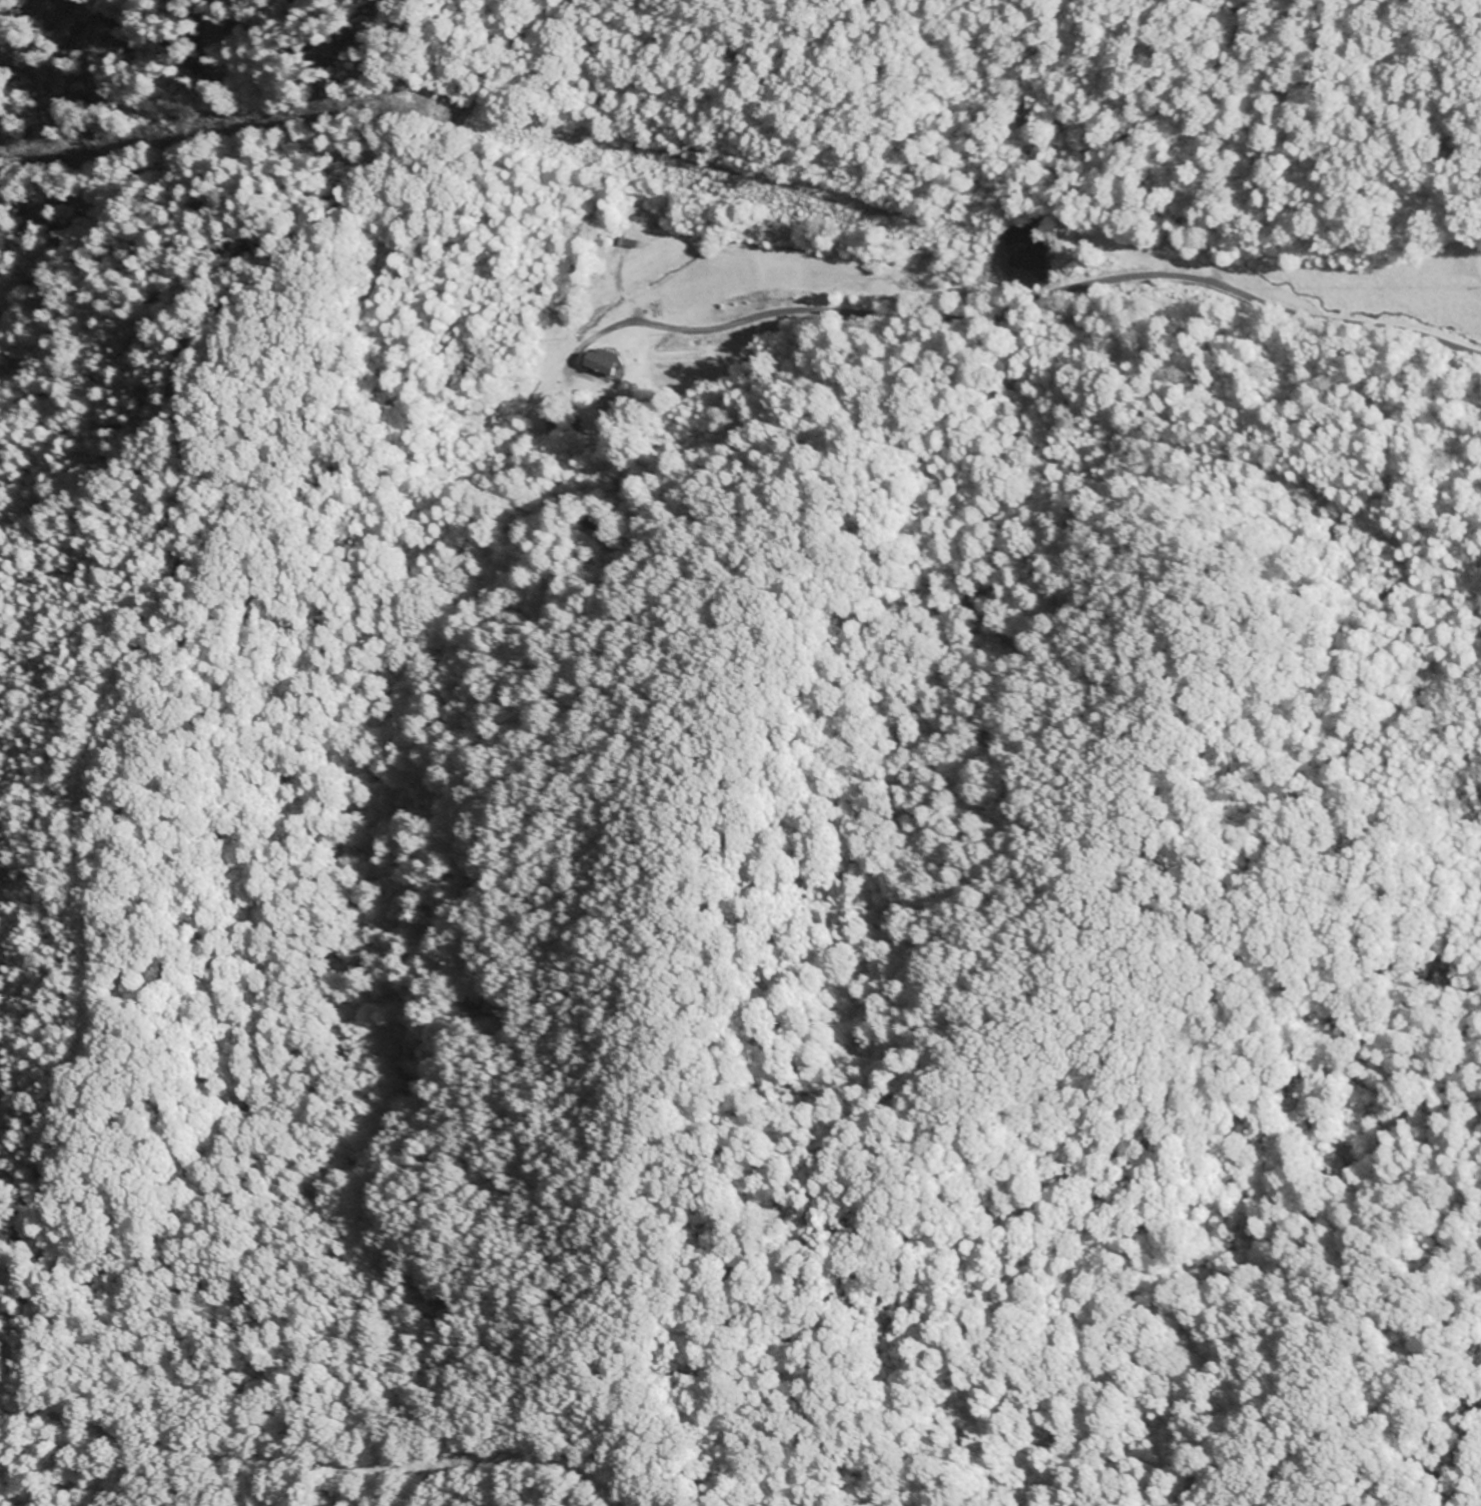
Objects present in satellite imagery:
road: (1028, 300)
building: (596, 360)

